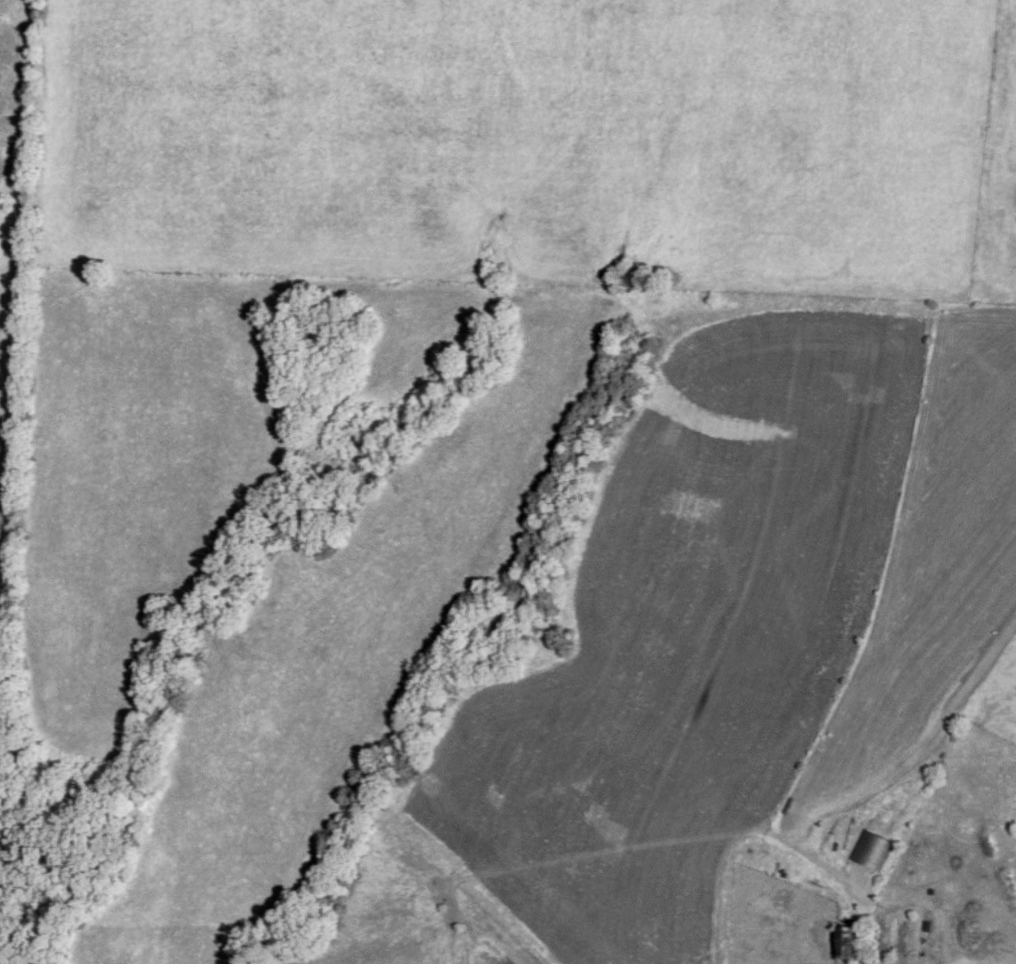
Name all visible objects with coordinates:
building: (872, 852)
building: (852, 944)
road: (988, 958)

